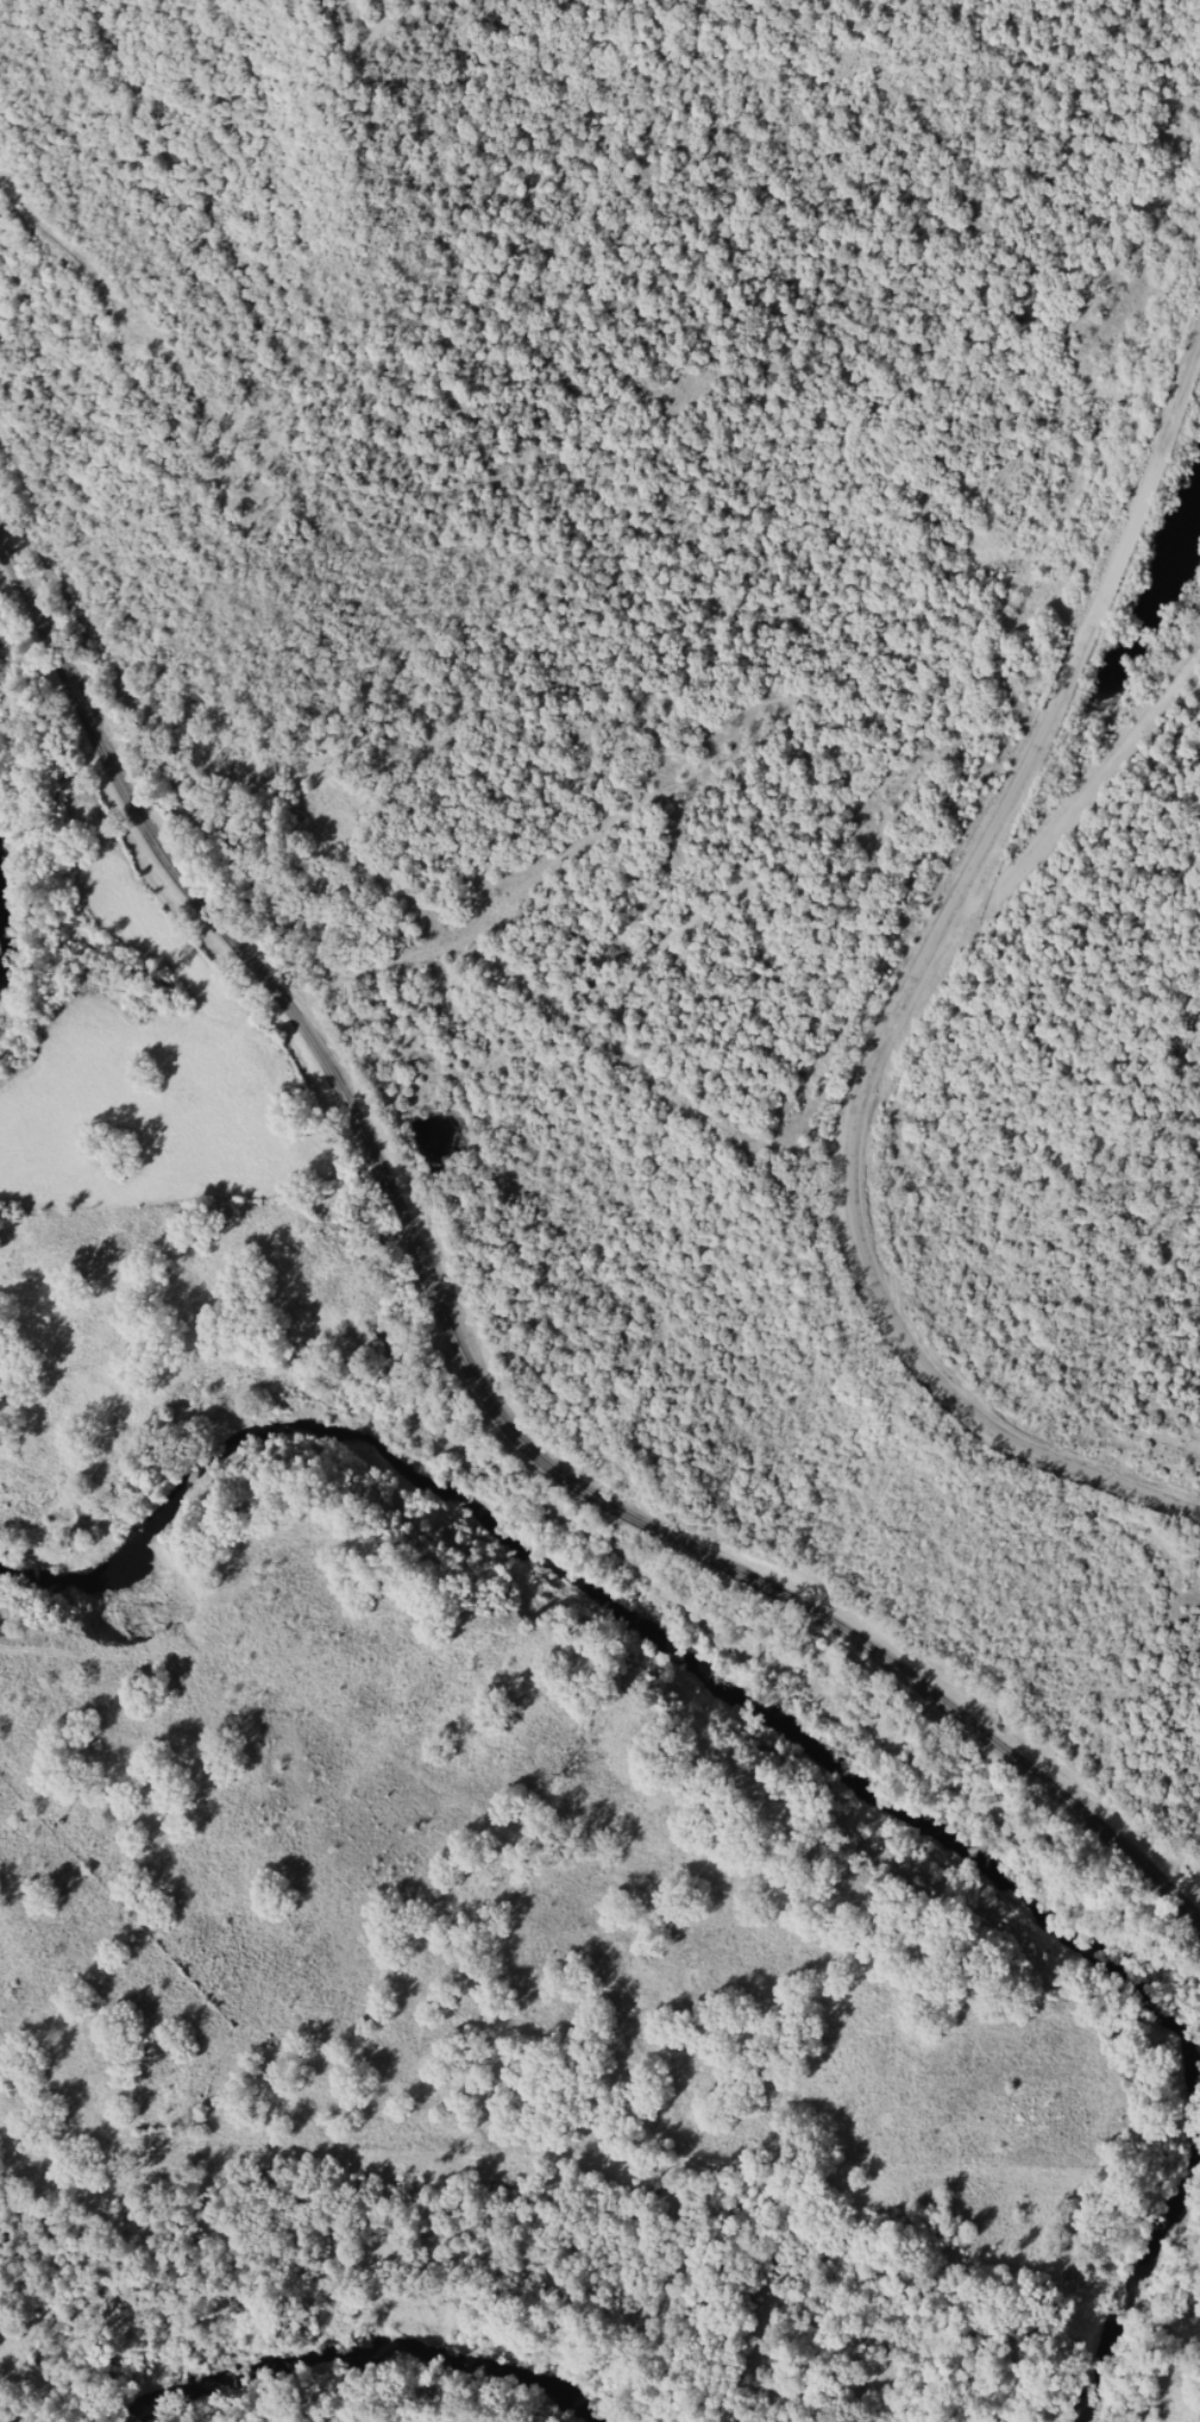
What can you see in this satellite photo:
road: (912, 985)
road: (458, 1359)

